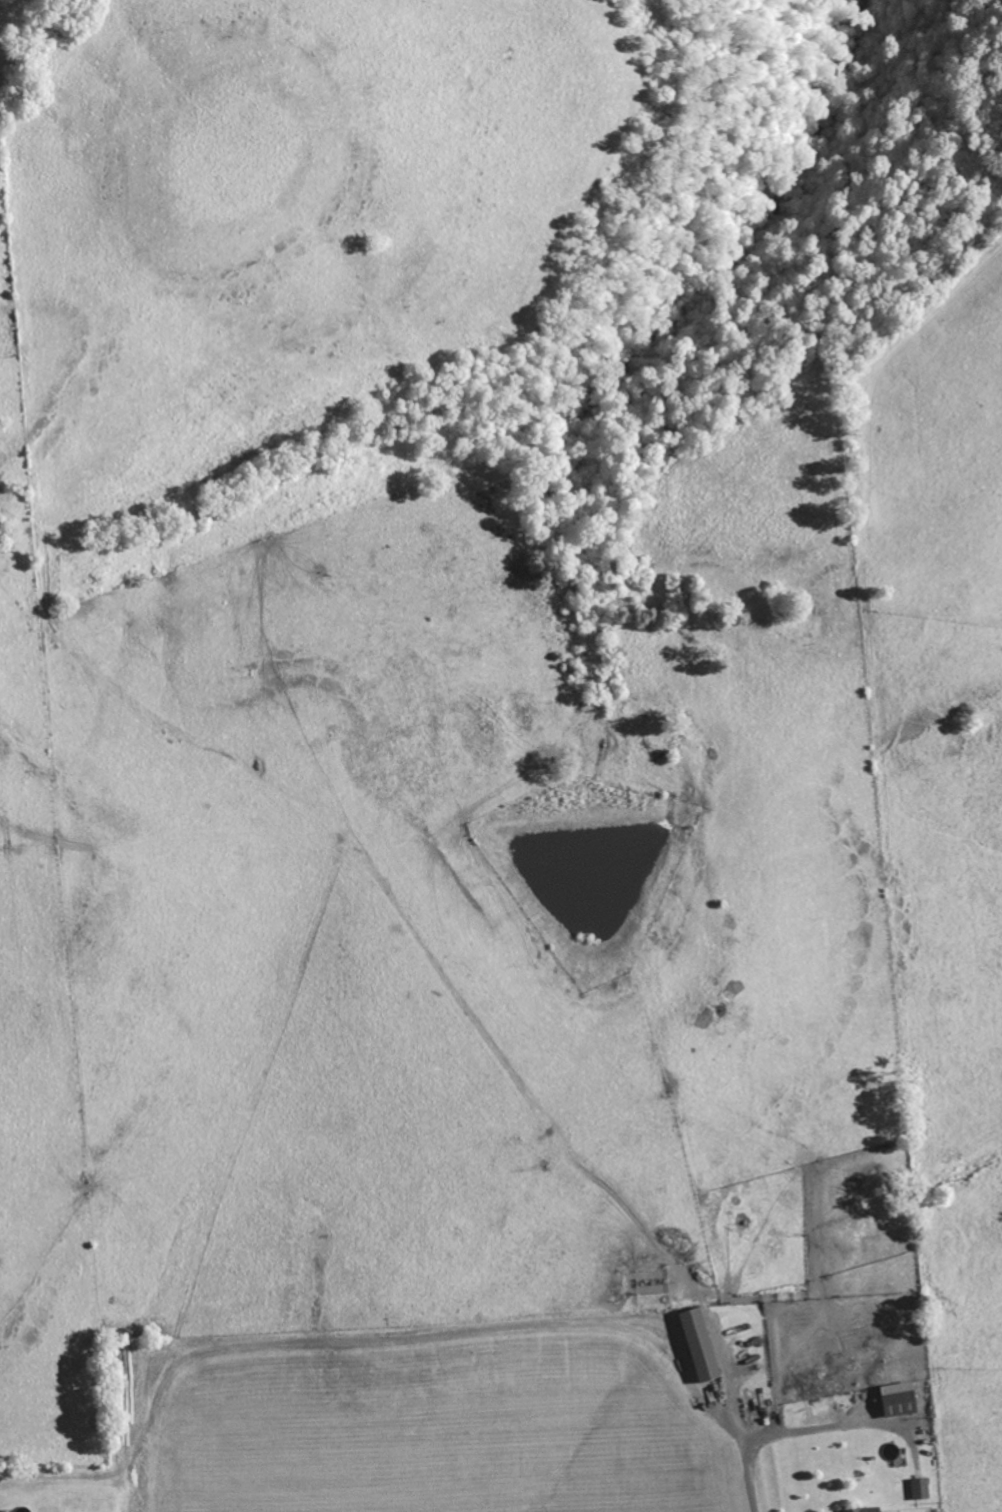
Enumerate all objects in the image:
building: (702, 1344)
building: (901, 1399)
road: (739, 1422)
road: (806, 1432)
building: (921, 1489)
building: (865, 1510)

